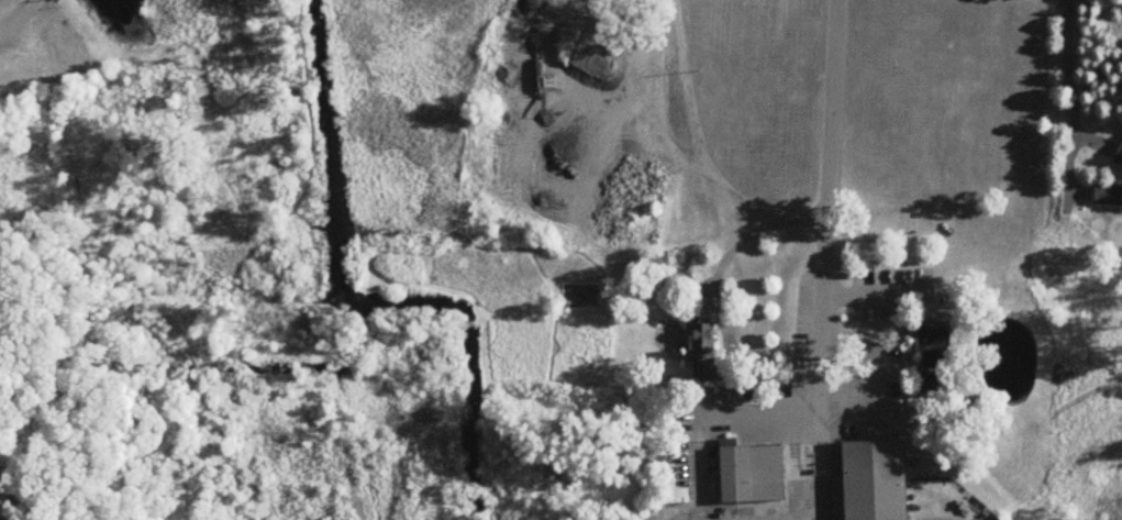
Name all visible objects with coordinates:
road: (15, 15)
road: (1068, 82)
road: (700, 153)
building: (1120, 158)
building: (1109, 196)
road: (827, 261)
building: (706, 351)
building: (936, 359)
building: (755, 475)
building: (879, 480)

